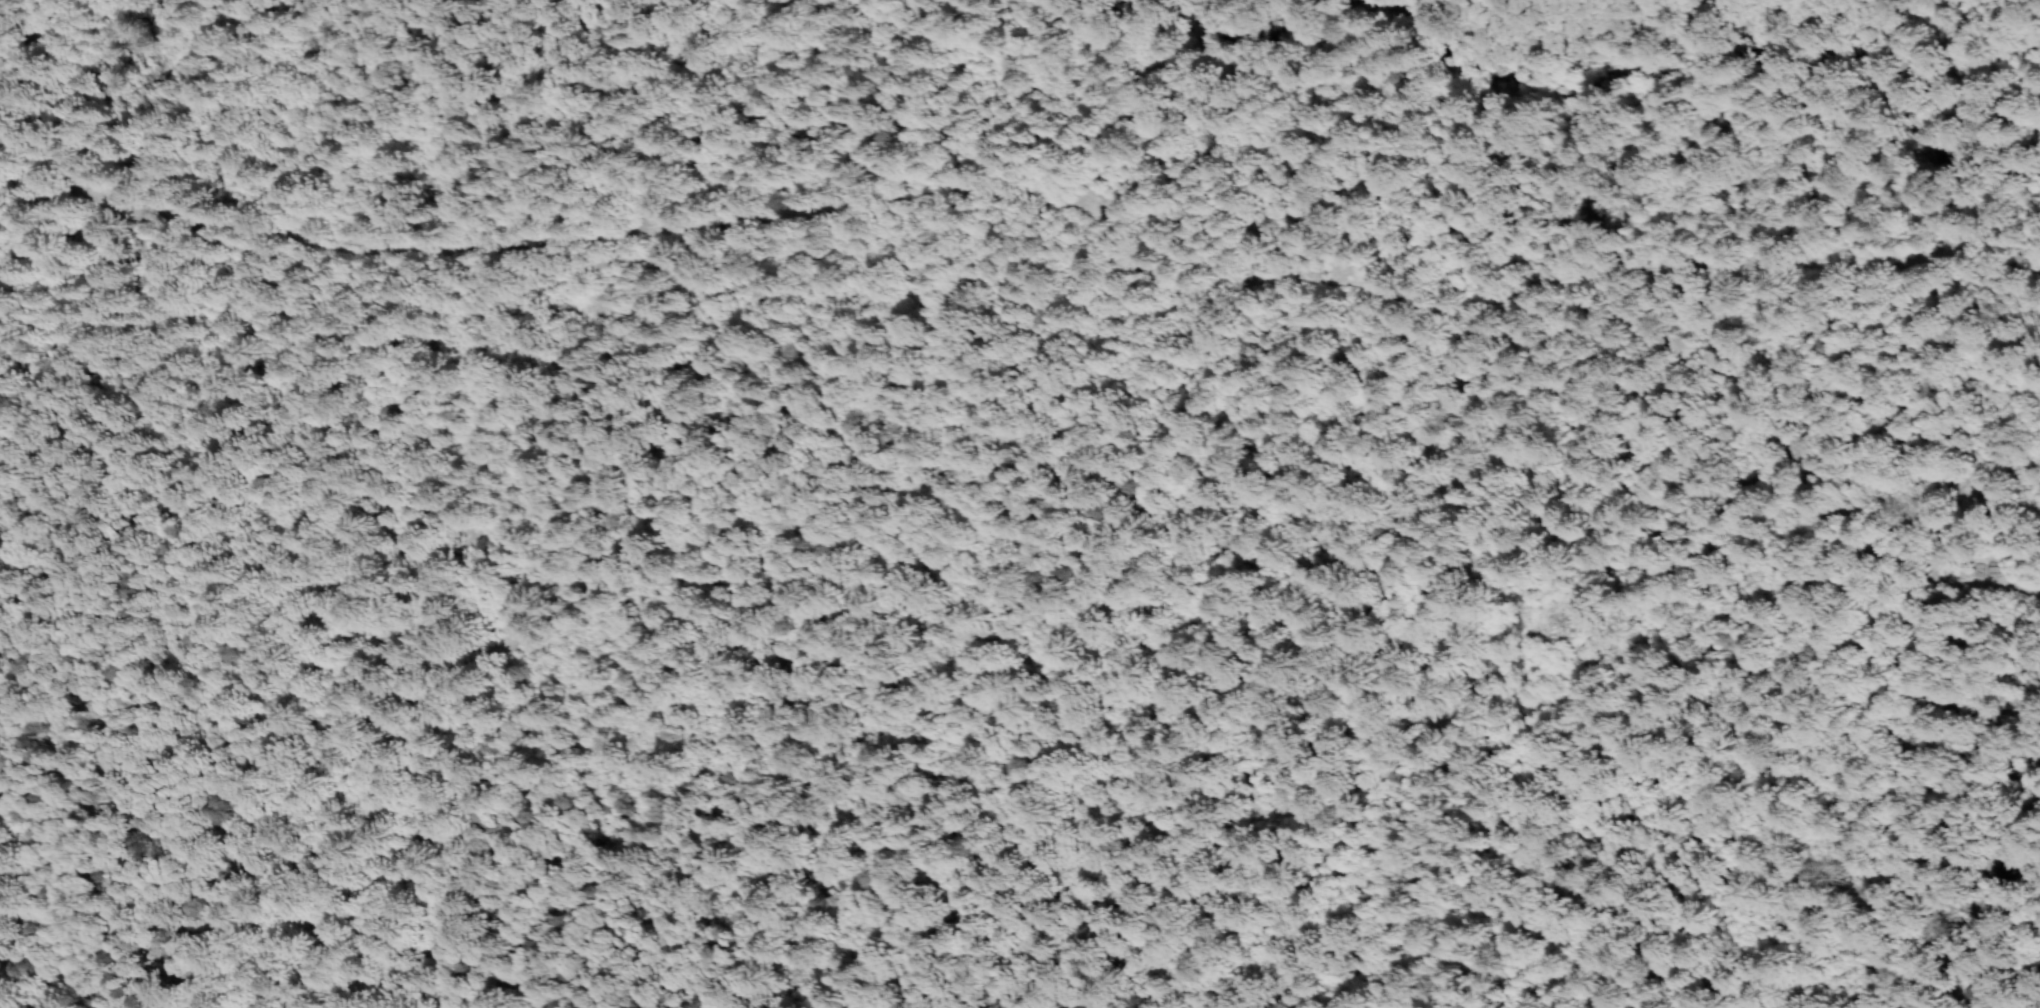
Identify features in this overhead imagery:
road: (1027, 199)
road: (1097, 614)

